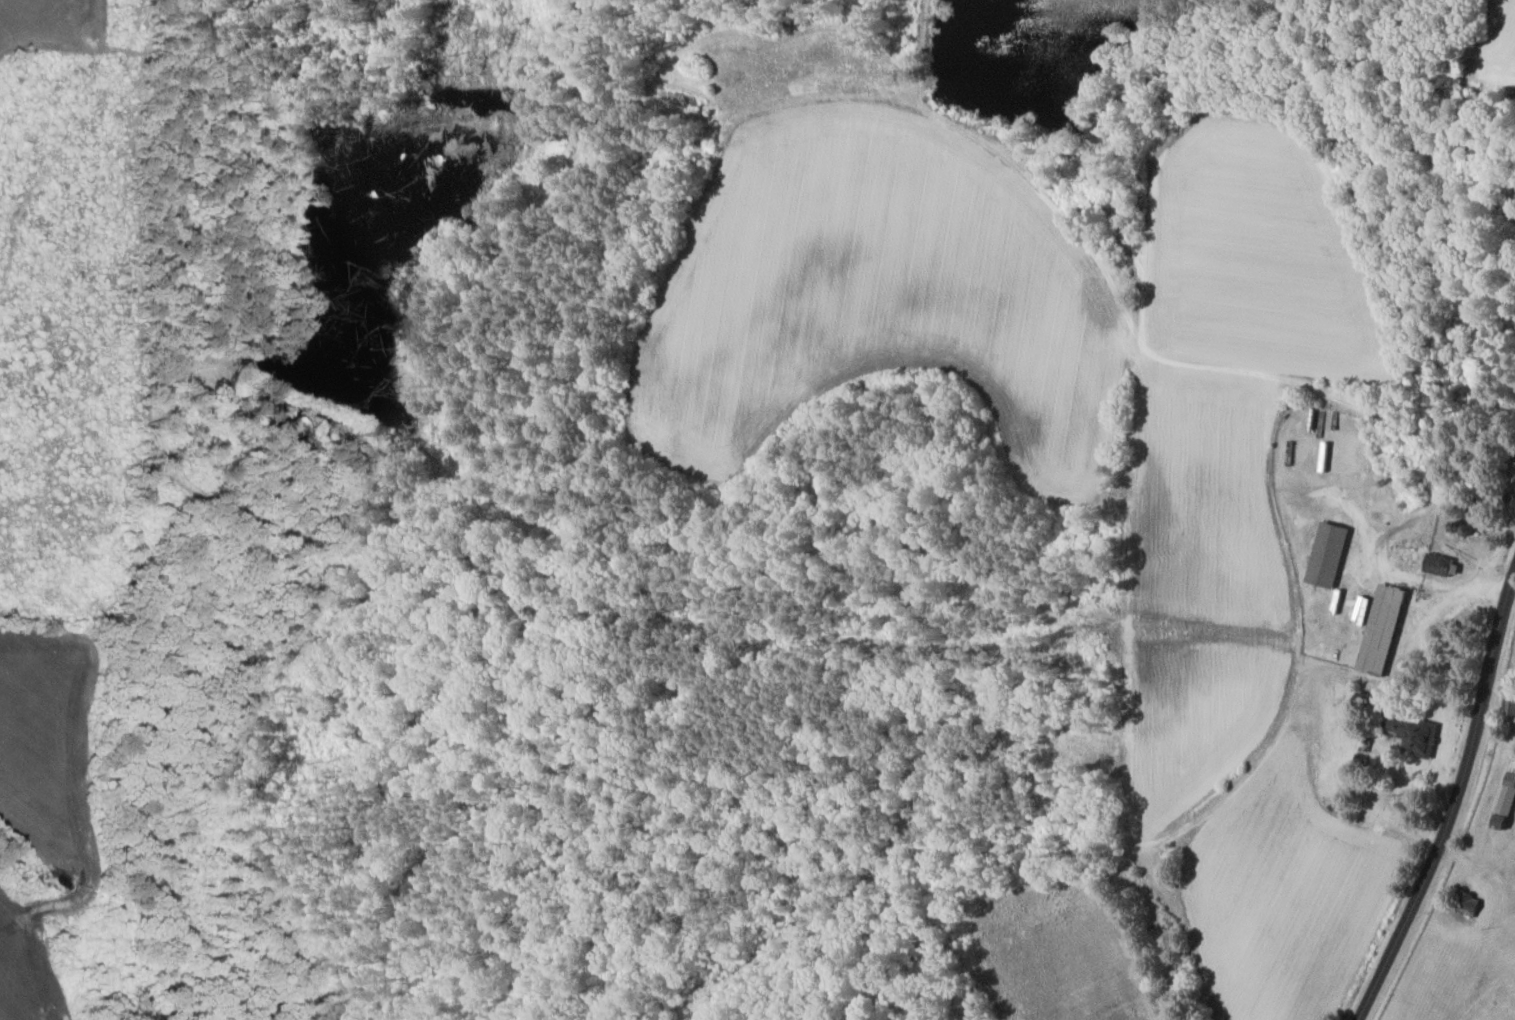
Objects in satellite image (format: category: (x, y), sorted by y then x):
building: (1330, 555)
building: (1441, 565)
road: (1406, 575)
road: (1455, 595)
building: (1384, 630)
building: (1512, 704)
building: (1416, 735)
building: (1365, 748)
road: (1454, 799)
building: (1507, 800)
building: (1472, 904)

